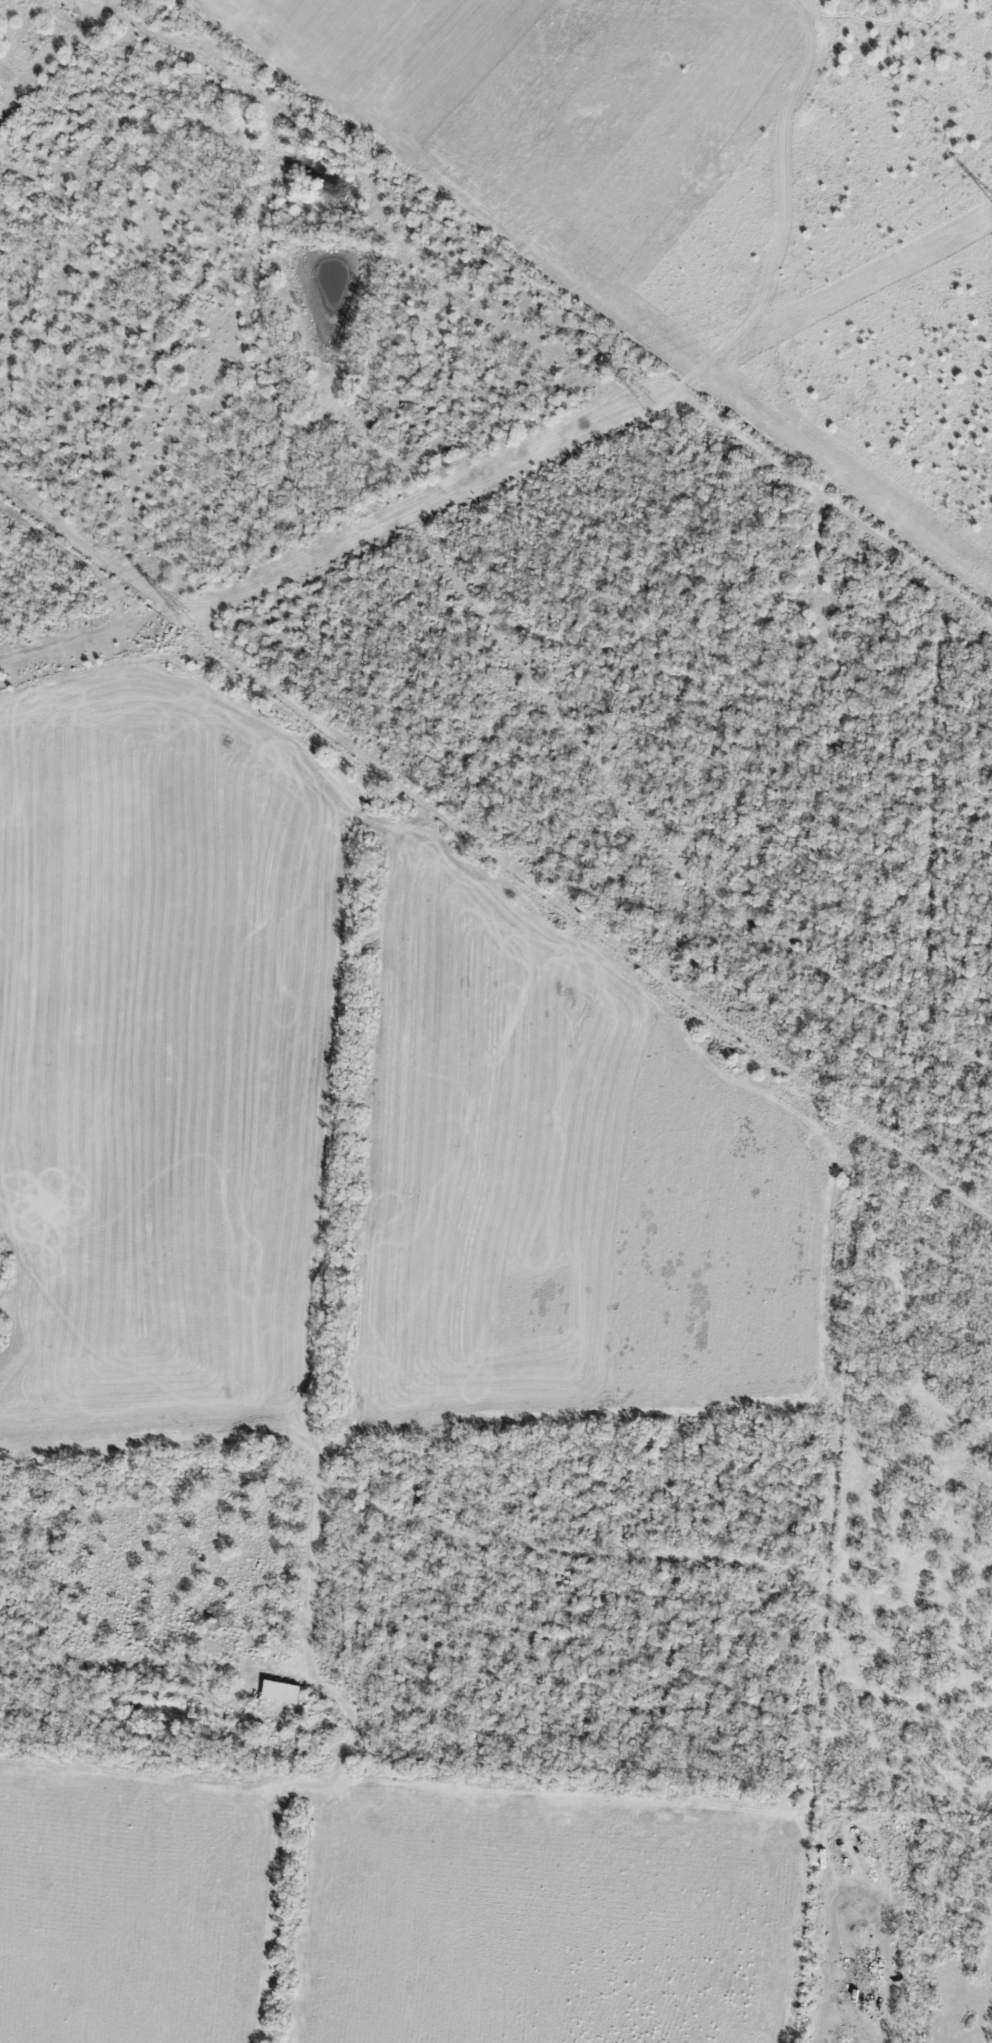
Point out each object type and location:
power tower: (657, 406)
power tower: (192, 622)
building: (282, 1692)
road: (277, 1831)

